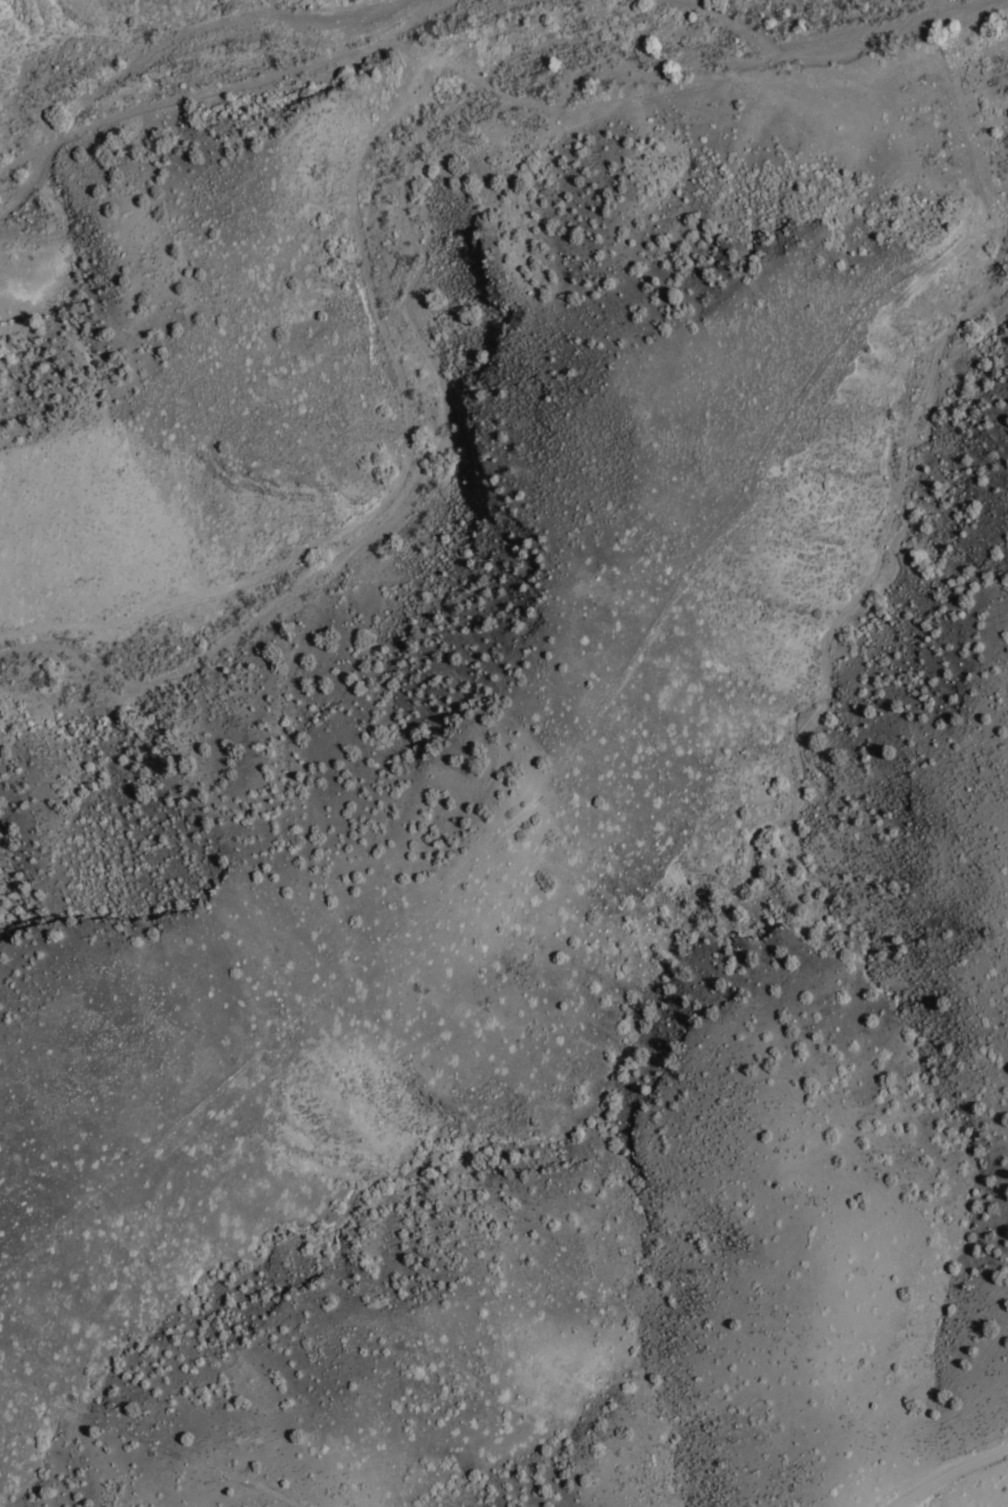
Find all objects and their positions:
road: (948, 1474)

